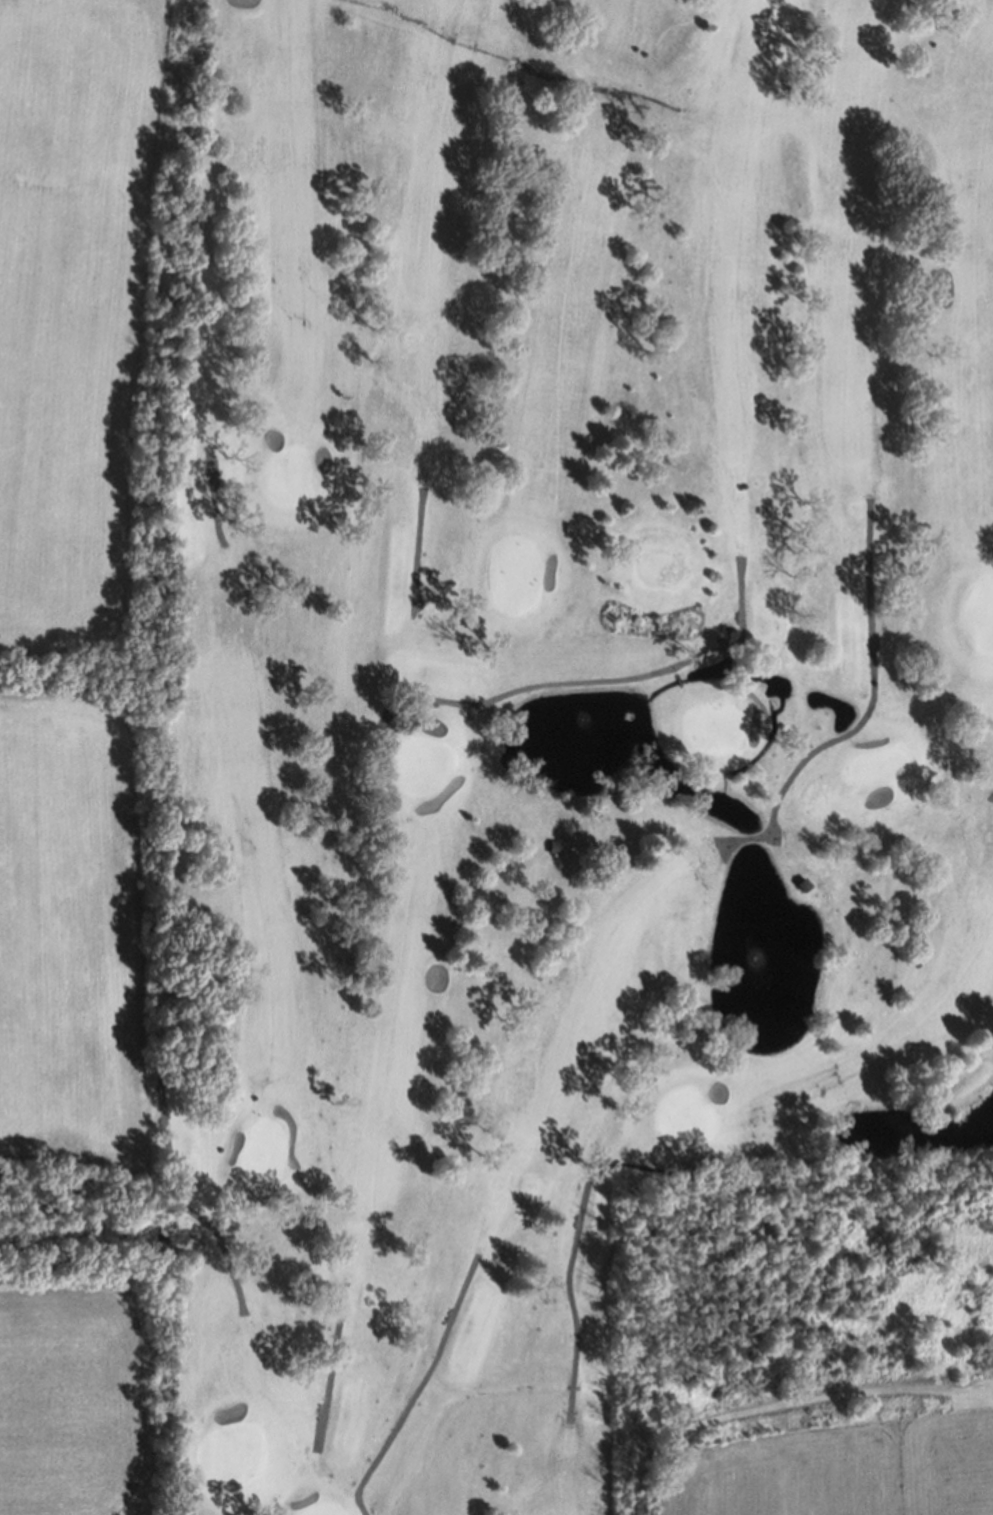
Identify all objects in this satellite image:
road: (214, 496)
road: (418, 551)
road: (680, 679)
road: (569, 683)
road: (751, 691)
road: (867, 713)
park: (554, 719)
building: (550, 846)
road: (165, 1128)
road: (576, 1232)
road: (332, 1364)
road: (419, 1386)

